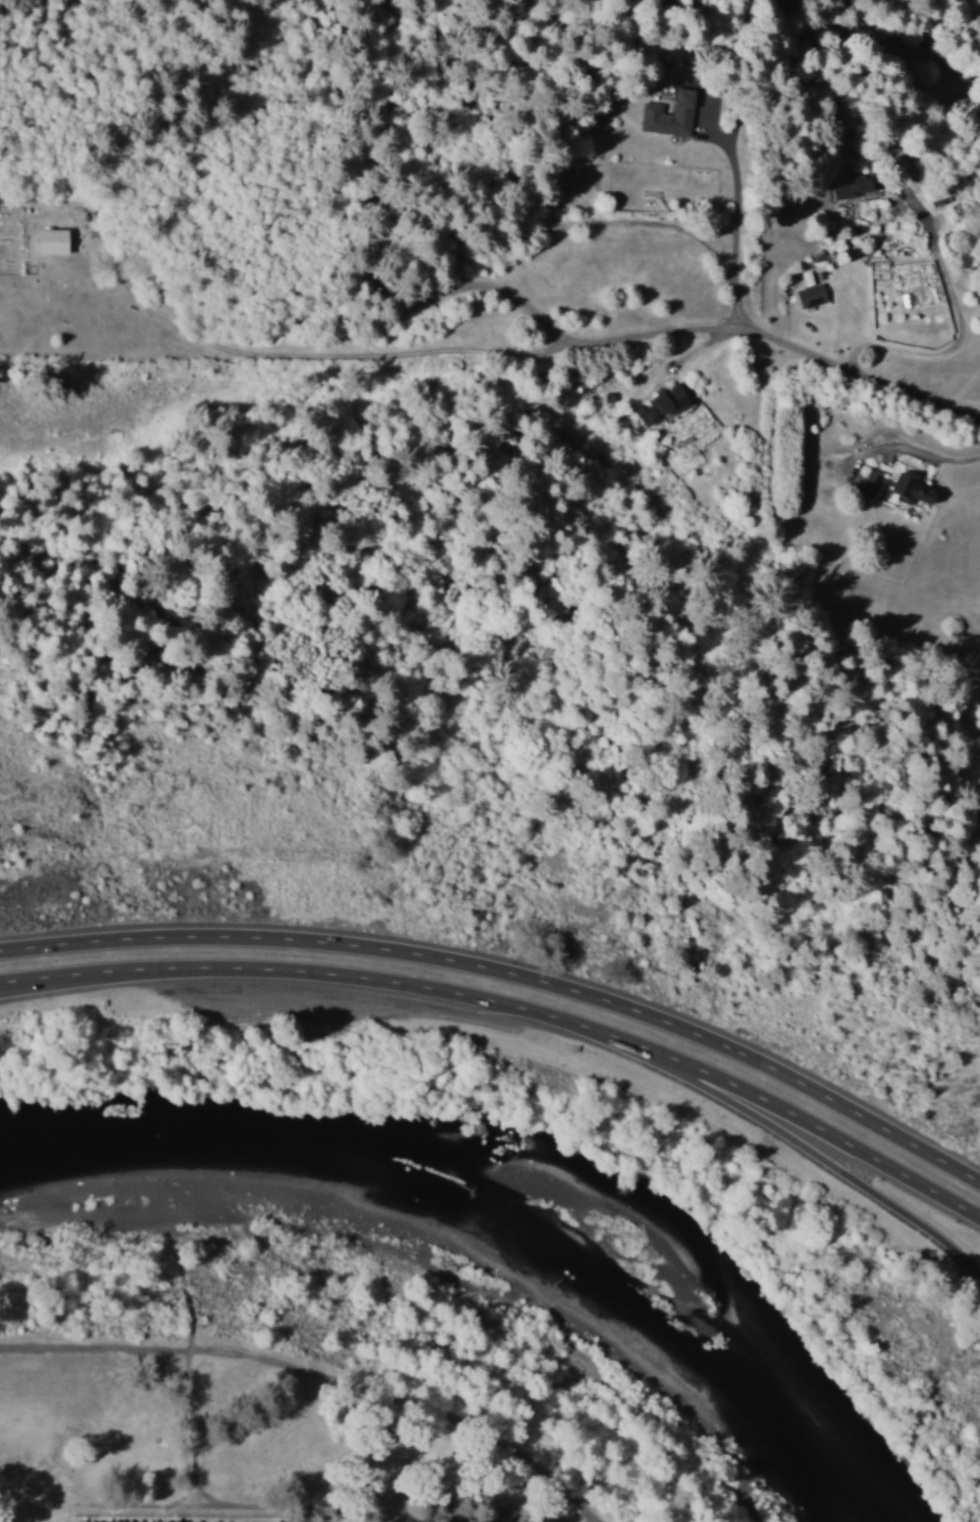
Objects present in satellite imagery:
building: (668, 114)
building: (852, 188)
building: (52, 241)
building: (806, 278)
building: (810, 295)
road: (776, 336)
building: (661, 404)
building: (898, 488)
road: (511, 972)
road: (71, 979)
road: (512, 1009)
river: (541, 1149)
road: (806, 1157)

